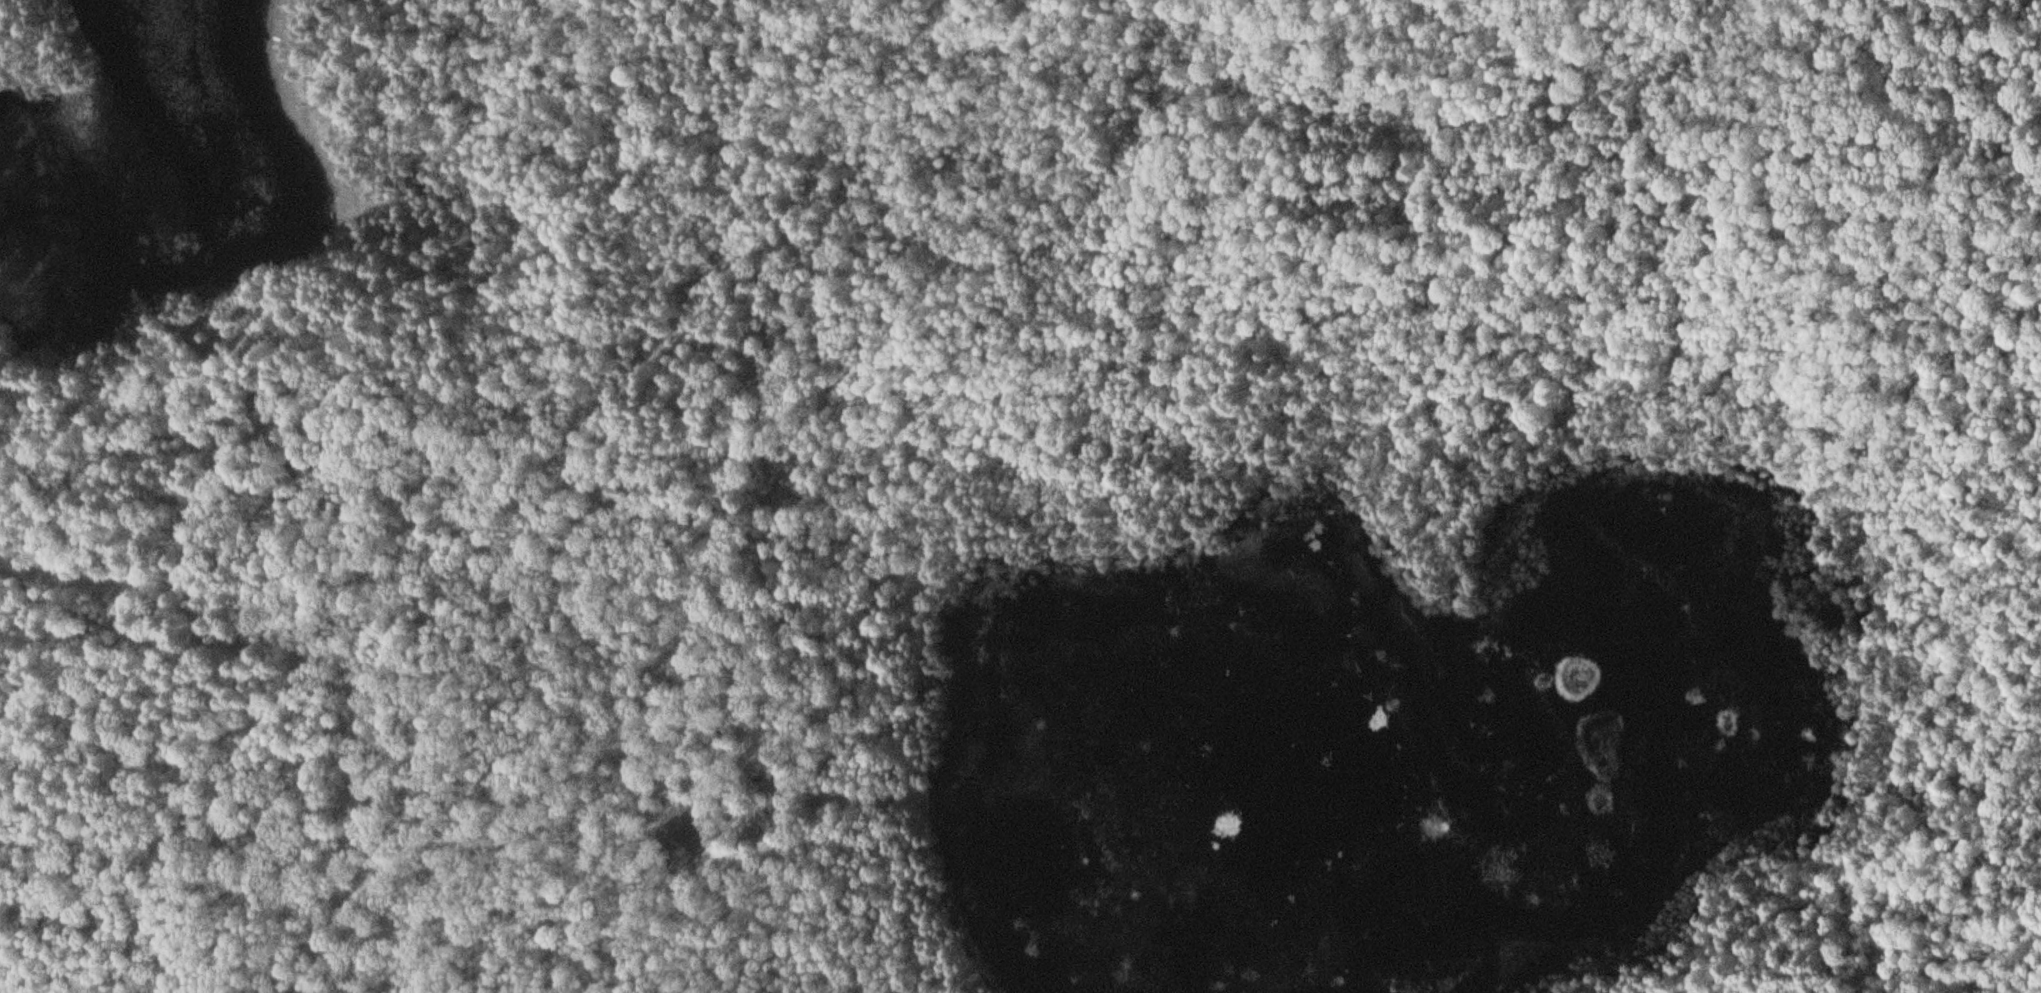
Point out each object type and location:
building: (265, 411)
road: (556, 846)

